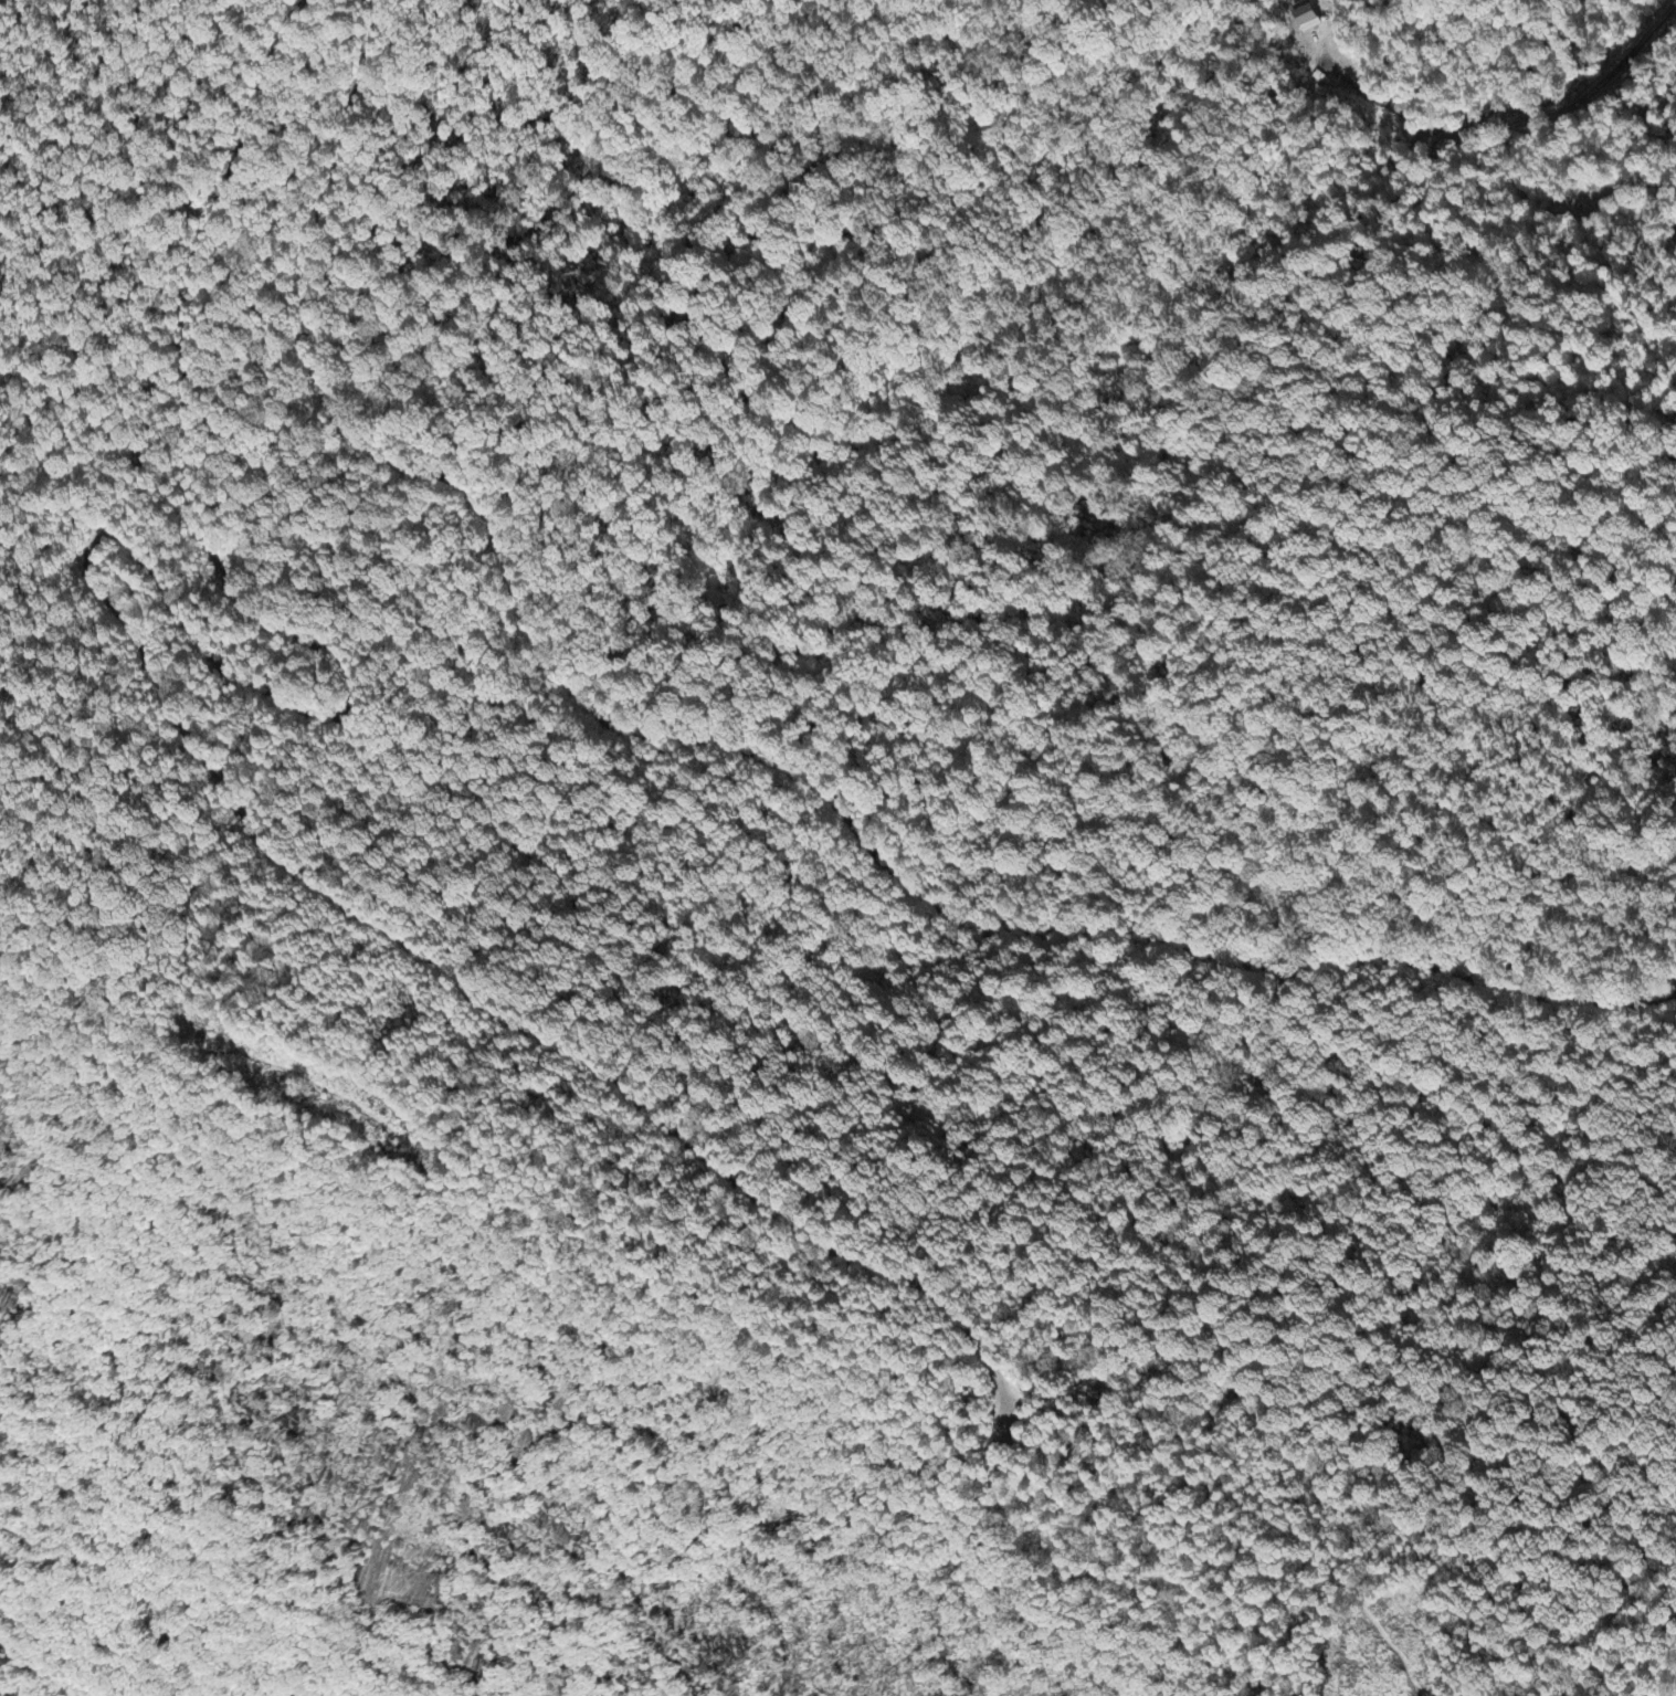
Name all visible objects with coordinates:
building: (1309, 19)
road: (31, 545)
road: (119, 615)
road: (747, 754)
road: (76, 1007)
road: (841, 1362)
parking lot: (1003, 1413)
road: (995, 1441)

